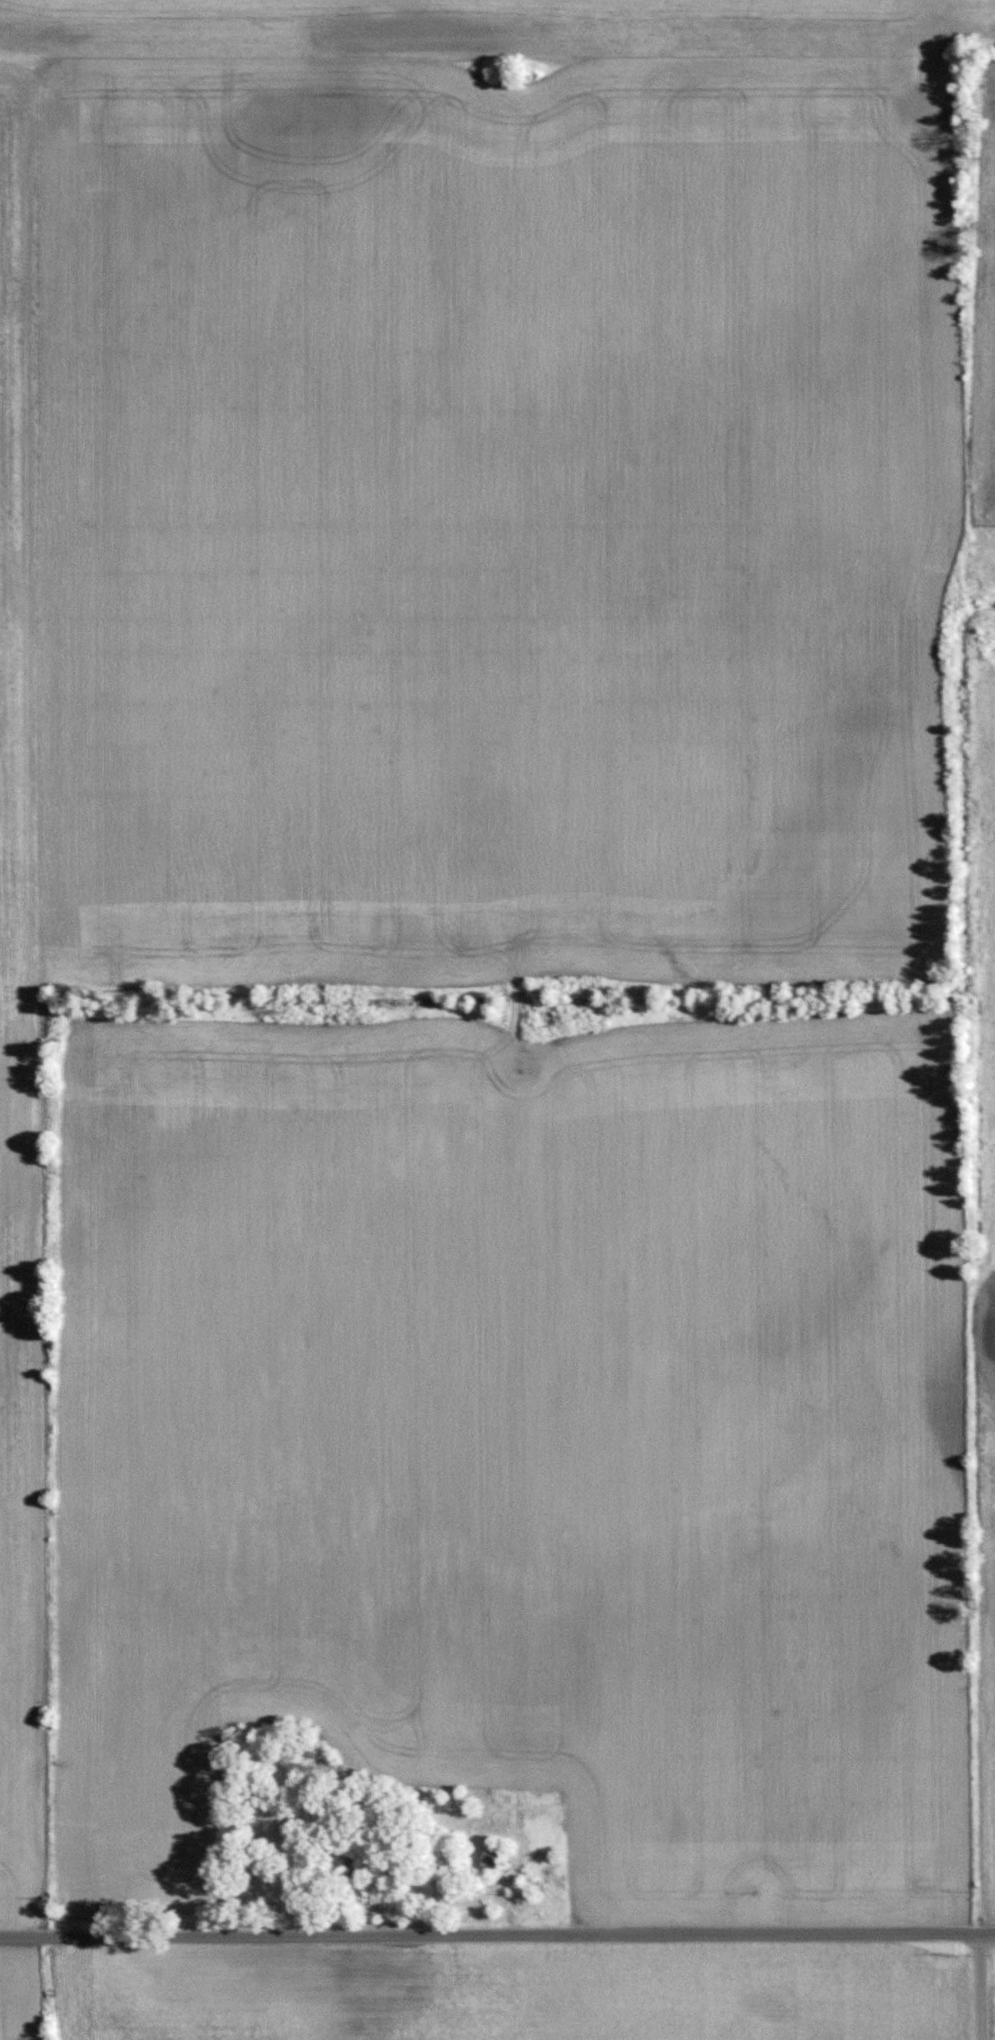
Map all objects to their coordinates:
building: (493, 1858)
road: (497, 1937)
road: (982, 1988)

